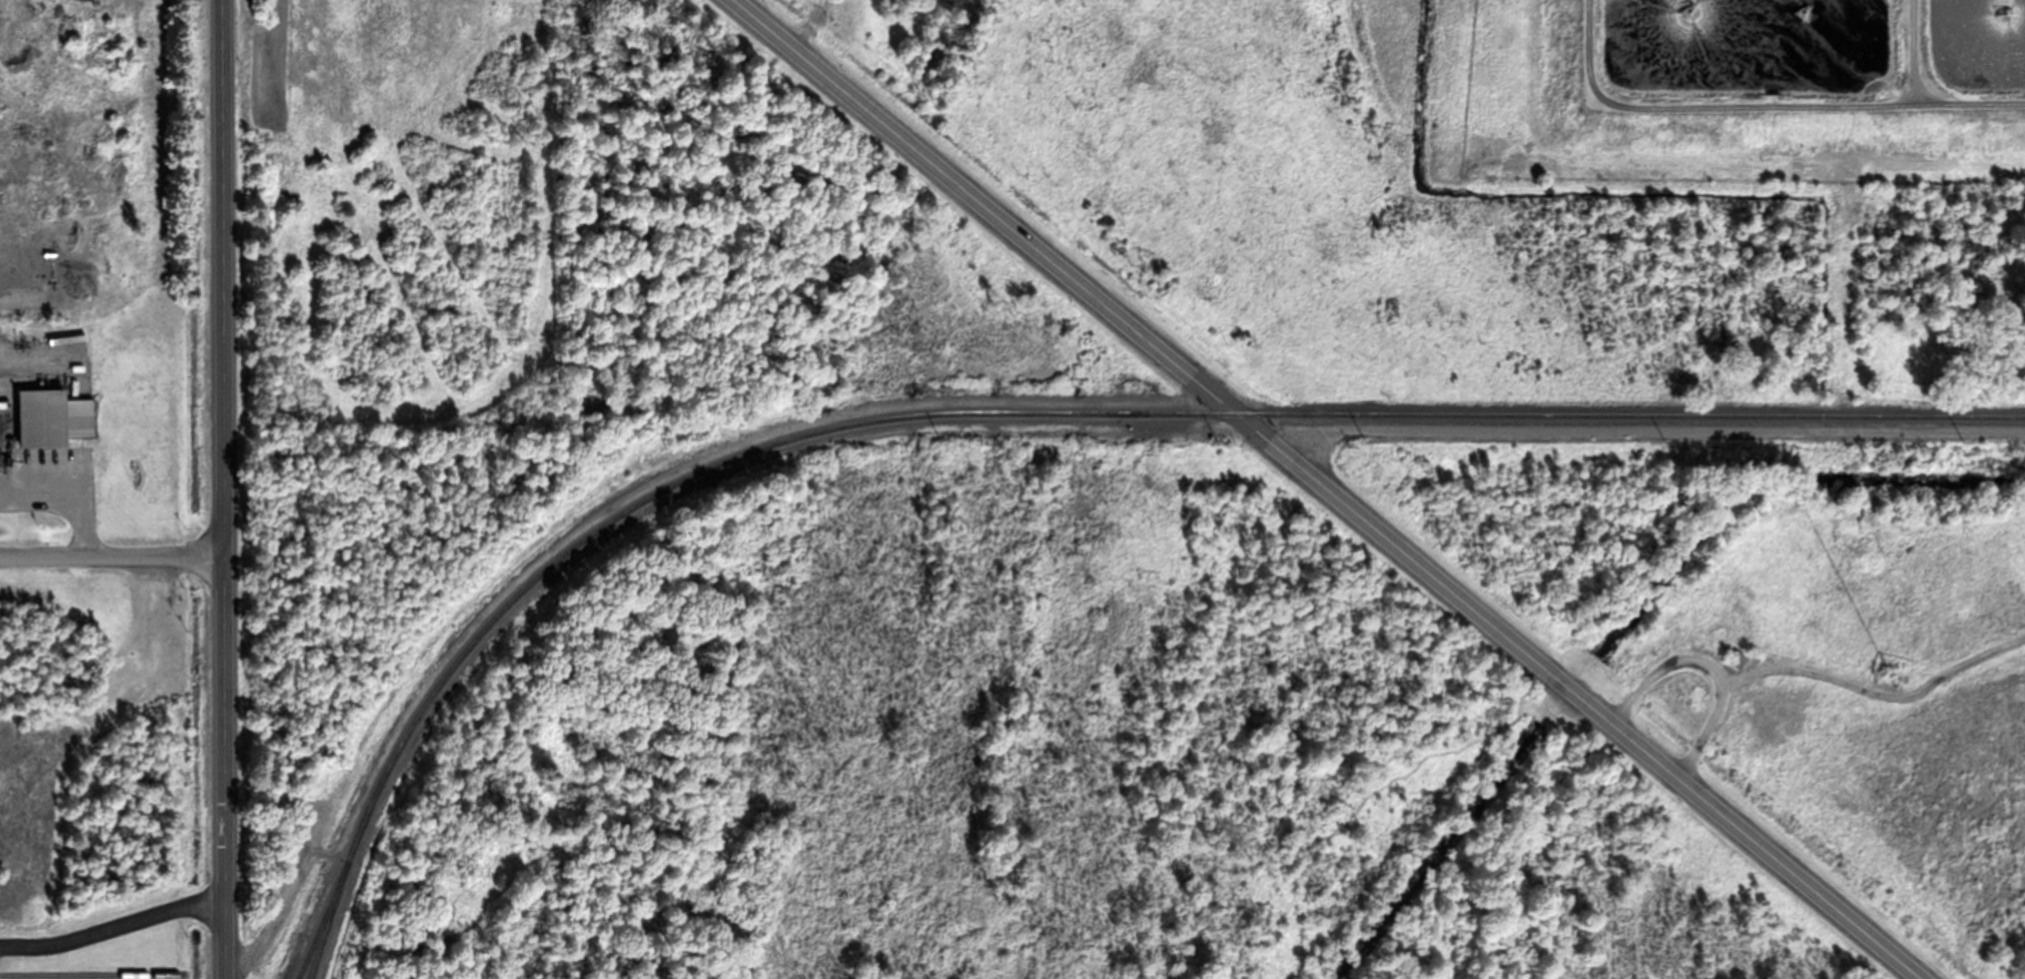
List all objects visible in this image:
building: (3, 199)
railway: (1085, 412)
building: (50, 417)
road: (1654, 428)
road: (1334, 488)
road: (224, 489)
road: (112, 554)
building: (1737, 658)
building: (1886, 671)
railway: (326, 921)
railway: (320, 922)
road: (112, 927)
railway: (76, 974)

